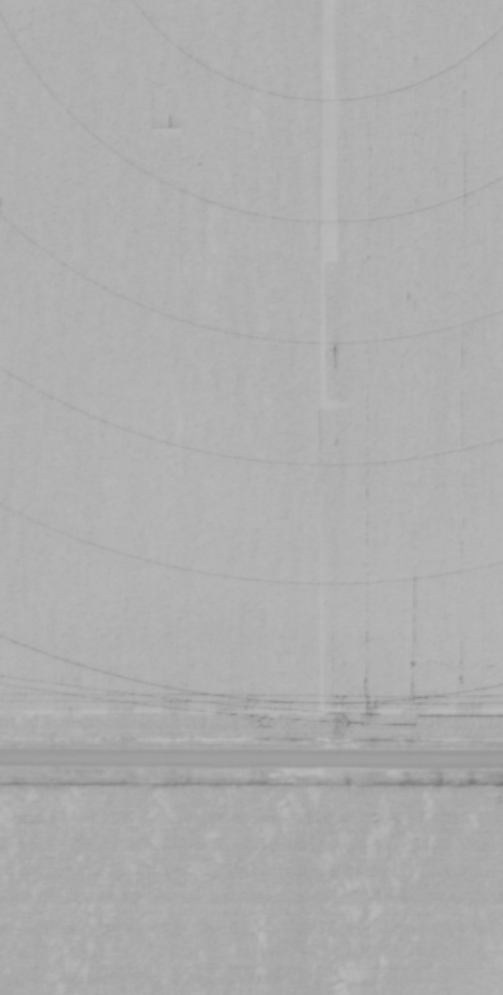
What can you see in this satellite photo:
road: (251, 767)

